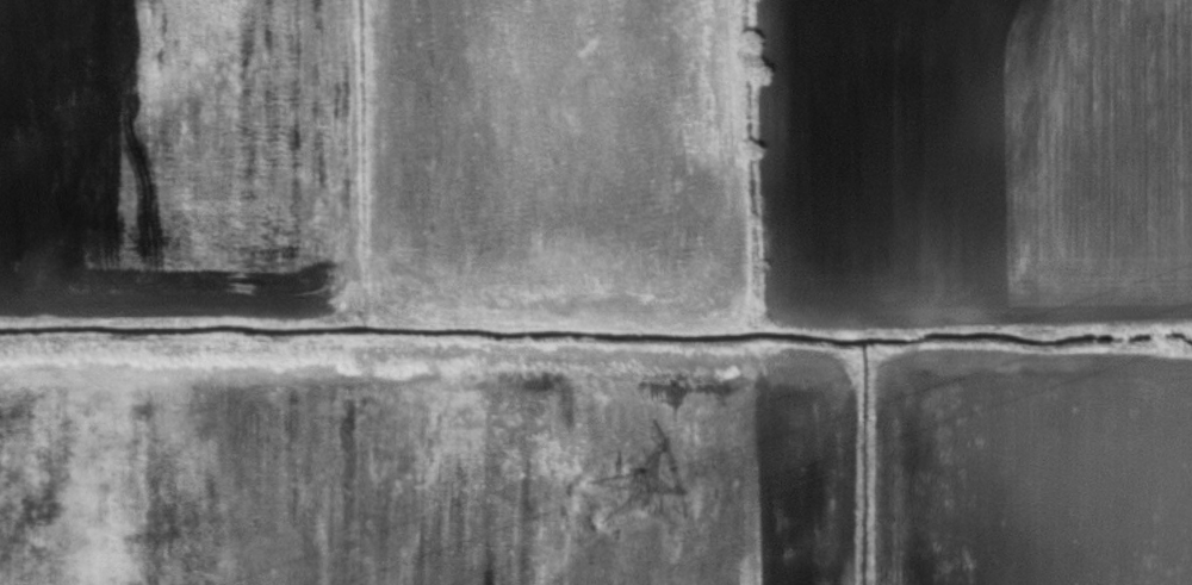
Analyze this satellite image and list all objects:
power tower: (621, 504)

